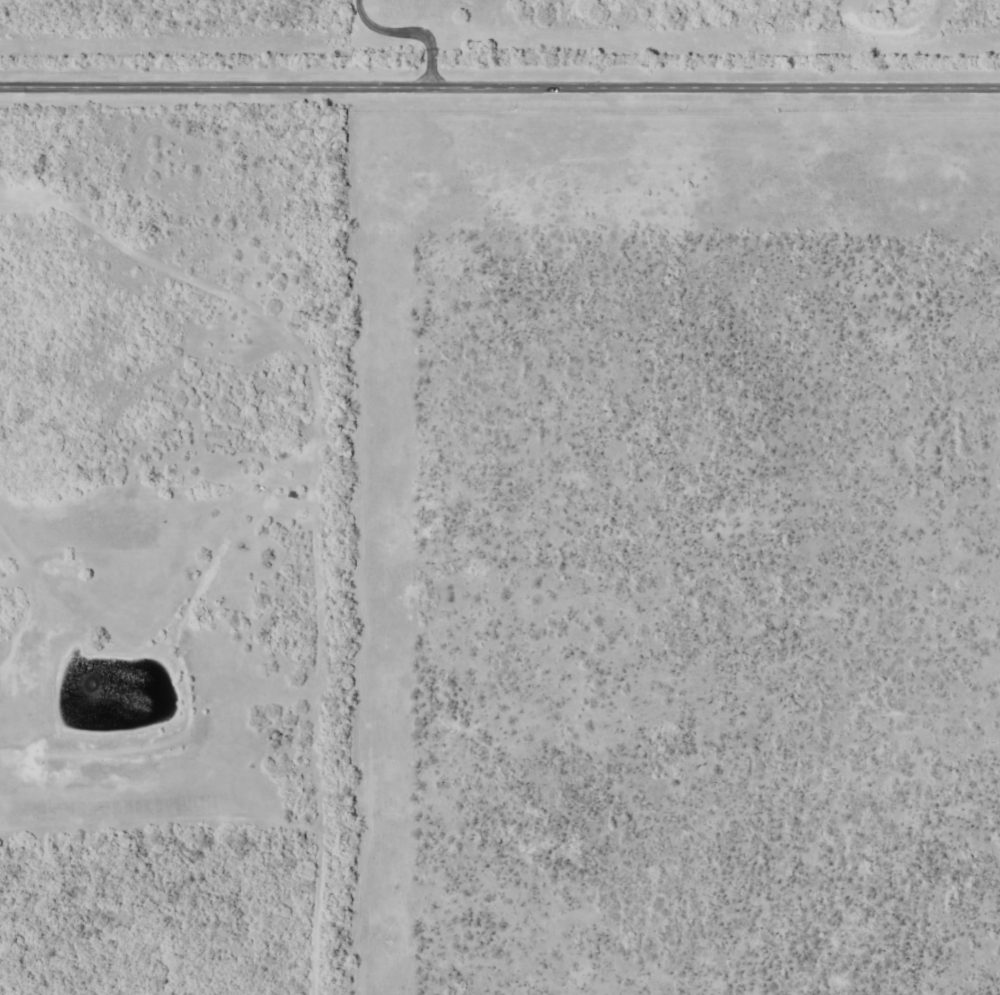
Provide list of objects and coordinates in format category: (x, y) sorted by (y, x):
road: (500, 87)

